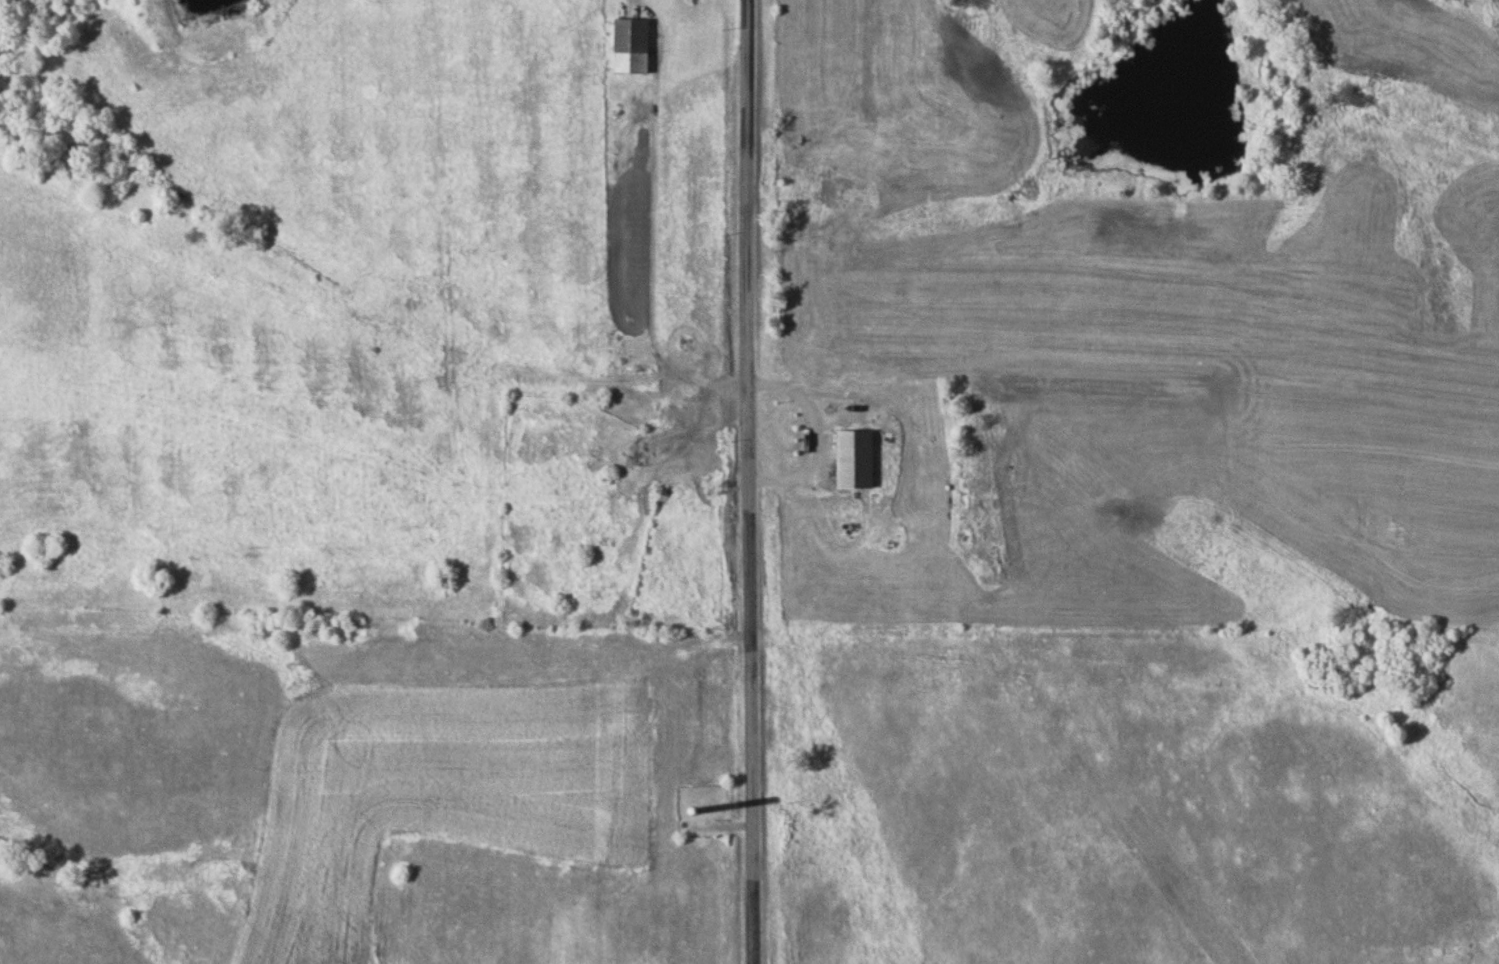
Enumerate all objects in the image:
building: (632, 47)
building: (688, 345)
building: (676, 416)
building: (857, 461)
road: (753, 482)

